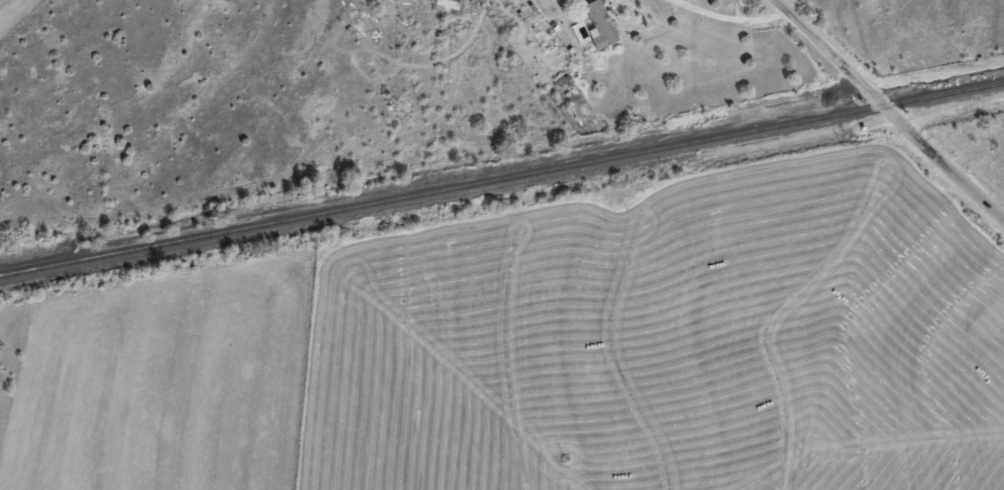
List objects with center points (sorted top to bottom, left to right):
building: (444, 6)
building: (597, 23)
road: (891, 106)
railway: (501, 175)

